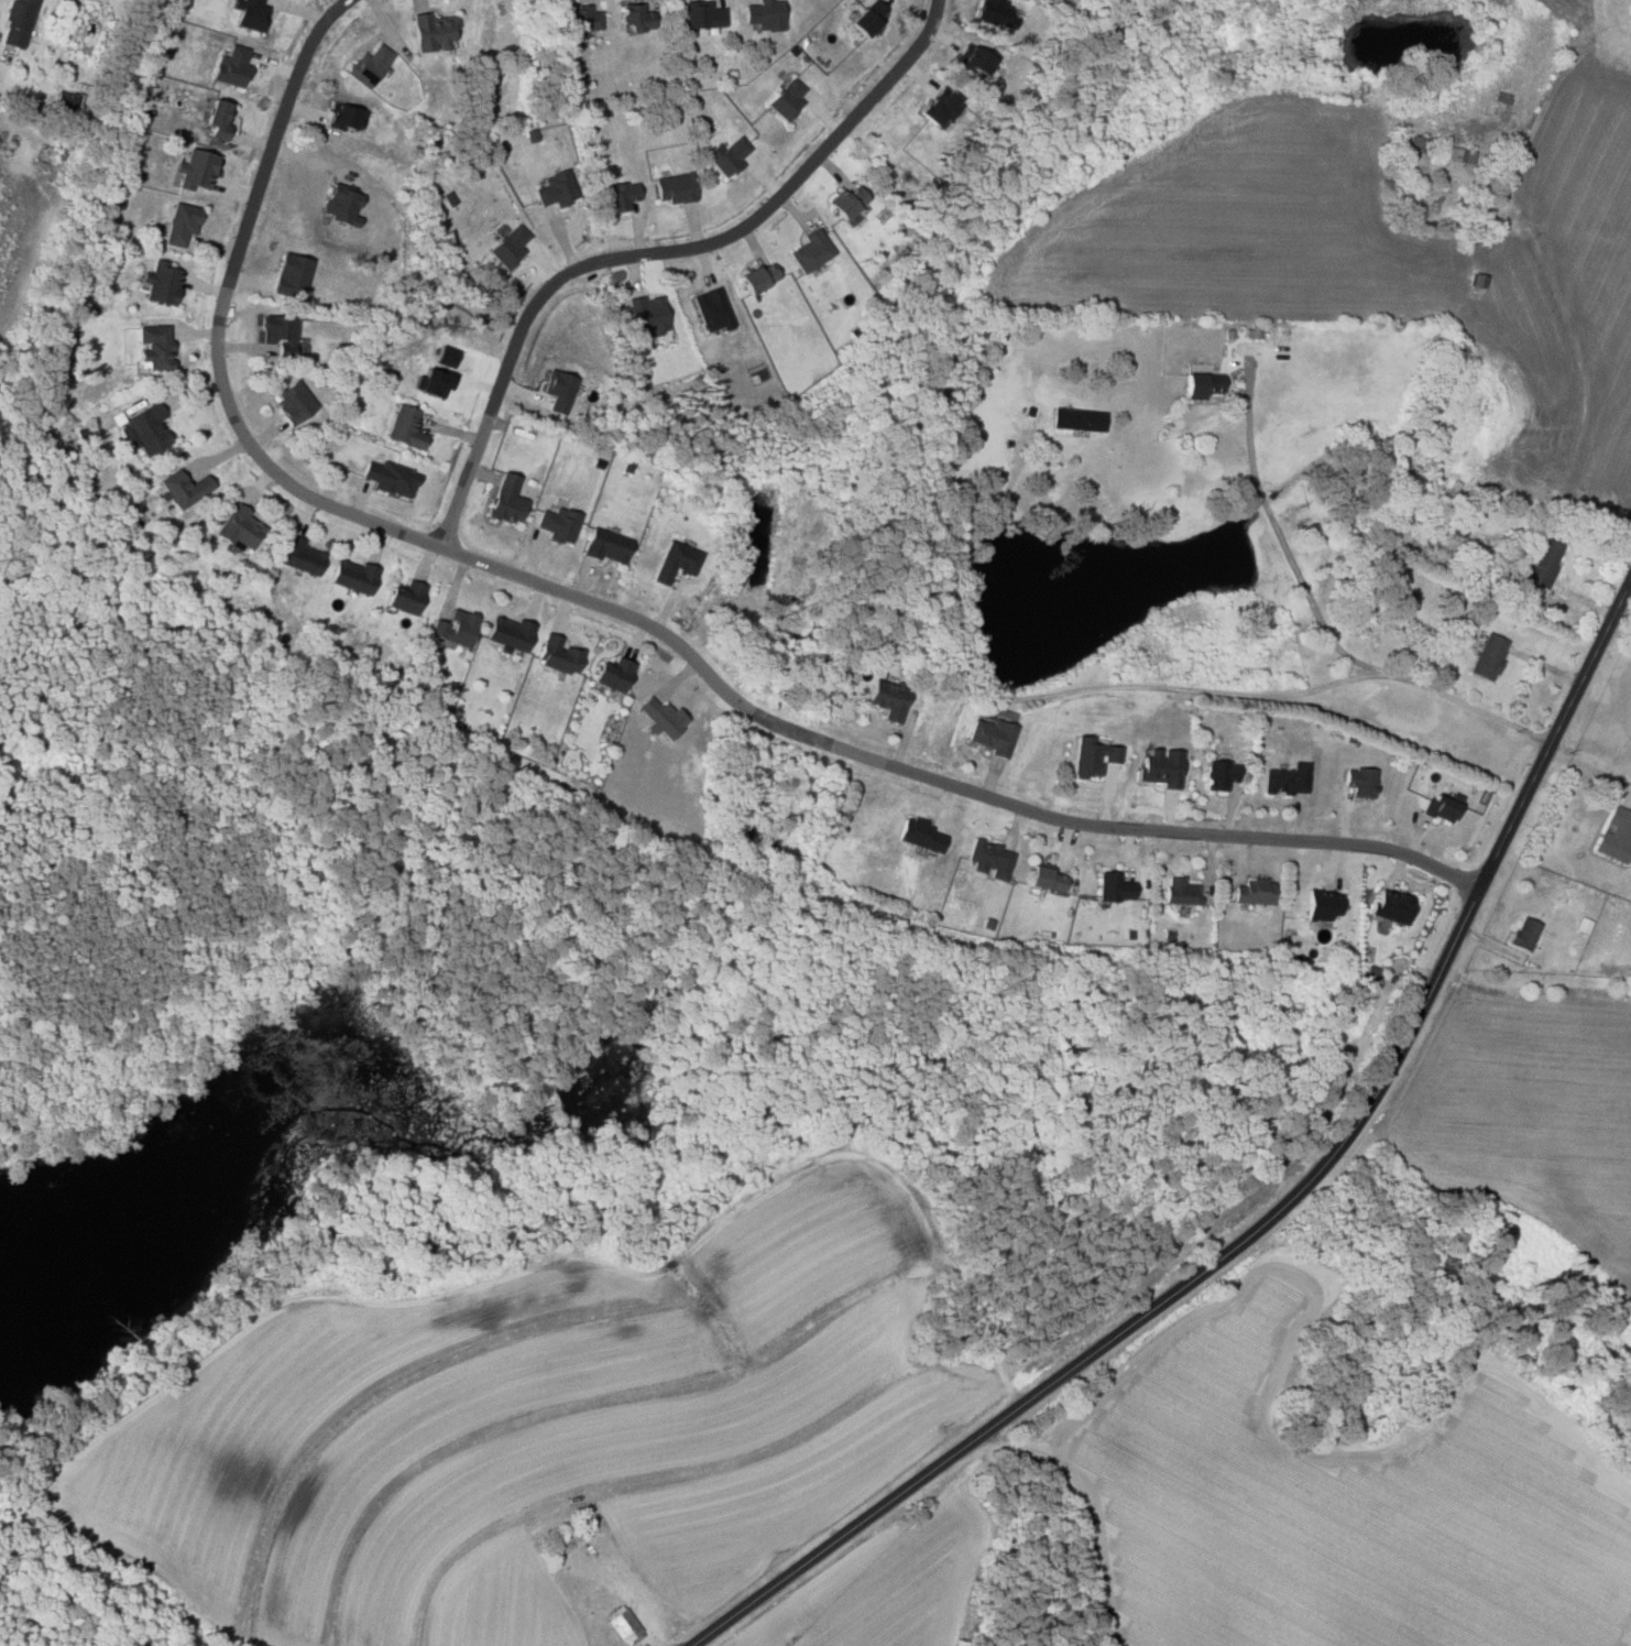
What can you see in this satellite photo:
building: (996, 13)
building: (249, 14)
building: (700, 14)
building: (763, 14)
building: (634, 18)
building: (866, 19)
building: (582, 21)
building: (17, 23)
building: (431, 32)
building: (974, 59)
building: (366, 66)
building: (231, 67)
building: (785, 100)
building: (343, 117)
building: (217, 119)
building: (532, 134)
building: (1459, 155)
building: (725, 156)
building: (196, 168)
building: (672, 188)
building: (620, 197)
building: (845, 205)
building: (341, 206)
building: (179, 224)
road: (743, 229)
building: (508, 246)
building: (810, 251)
road: (1537, 263)
building: (289, 276)
building: (756, 279)
building: (161, 284)
building: (711, 309)
building: (647, 314)
building: (277, 335)
building: (153, 348)
building: (447, 352)
building: (431, 381)
building: (1200, 385)
building: (557, 390)
building: (291, 399)
building: (1076, 419)
building: (404, 426)
building: (145, 427)
road: (1248, 430)
road: (472, 460)
building: (388, 477)
building: (183, 487)
building: (504, 499)
building: (557, 522)
building: (236, 525)
building: (605, 545)
building: (299, 555)
building: (675, 562)
building: (1542, 562)
building: (352, 576)
building: (404, 596)
road: (632, 623)
building: (458, 628)
building: (507, 633)
building: (557, 654)
building: (1487, 655)
road: (1365, 664)
building: (612, 673)
road: (1194, 687)
building: (887, 700)
building: (660, 716)
building: (992, 735)
building: (1090, 755)
road: (1588, 757)
building: (1159, 766)
building: (1217, 774)
building: (1285, 778)
building: (1359, 781)
building: (1440, 807)
building: (917, 833)
building: (1616, 835)
building: (987, 859)
building: (1042, 876)
building: (1113, 886)
building: (1180, 890)
building: (1252, 891)
building: (1321, 904)
building: (1390, 905)
building: (1583, 925)
building: (1524, 933)
road: (1278, 1206)
building: (623, 1625)

